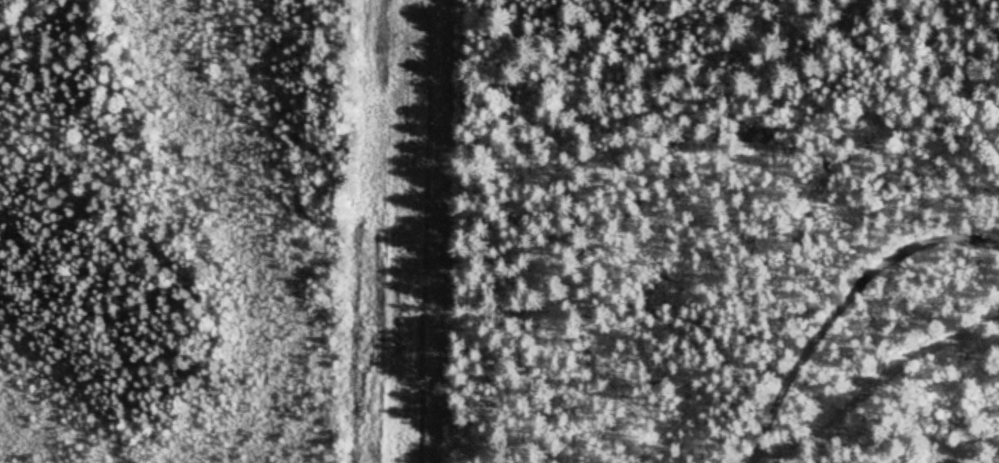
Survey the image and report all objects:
road: (839, 304)

